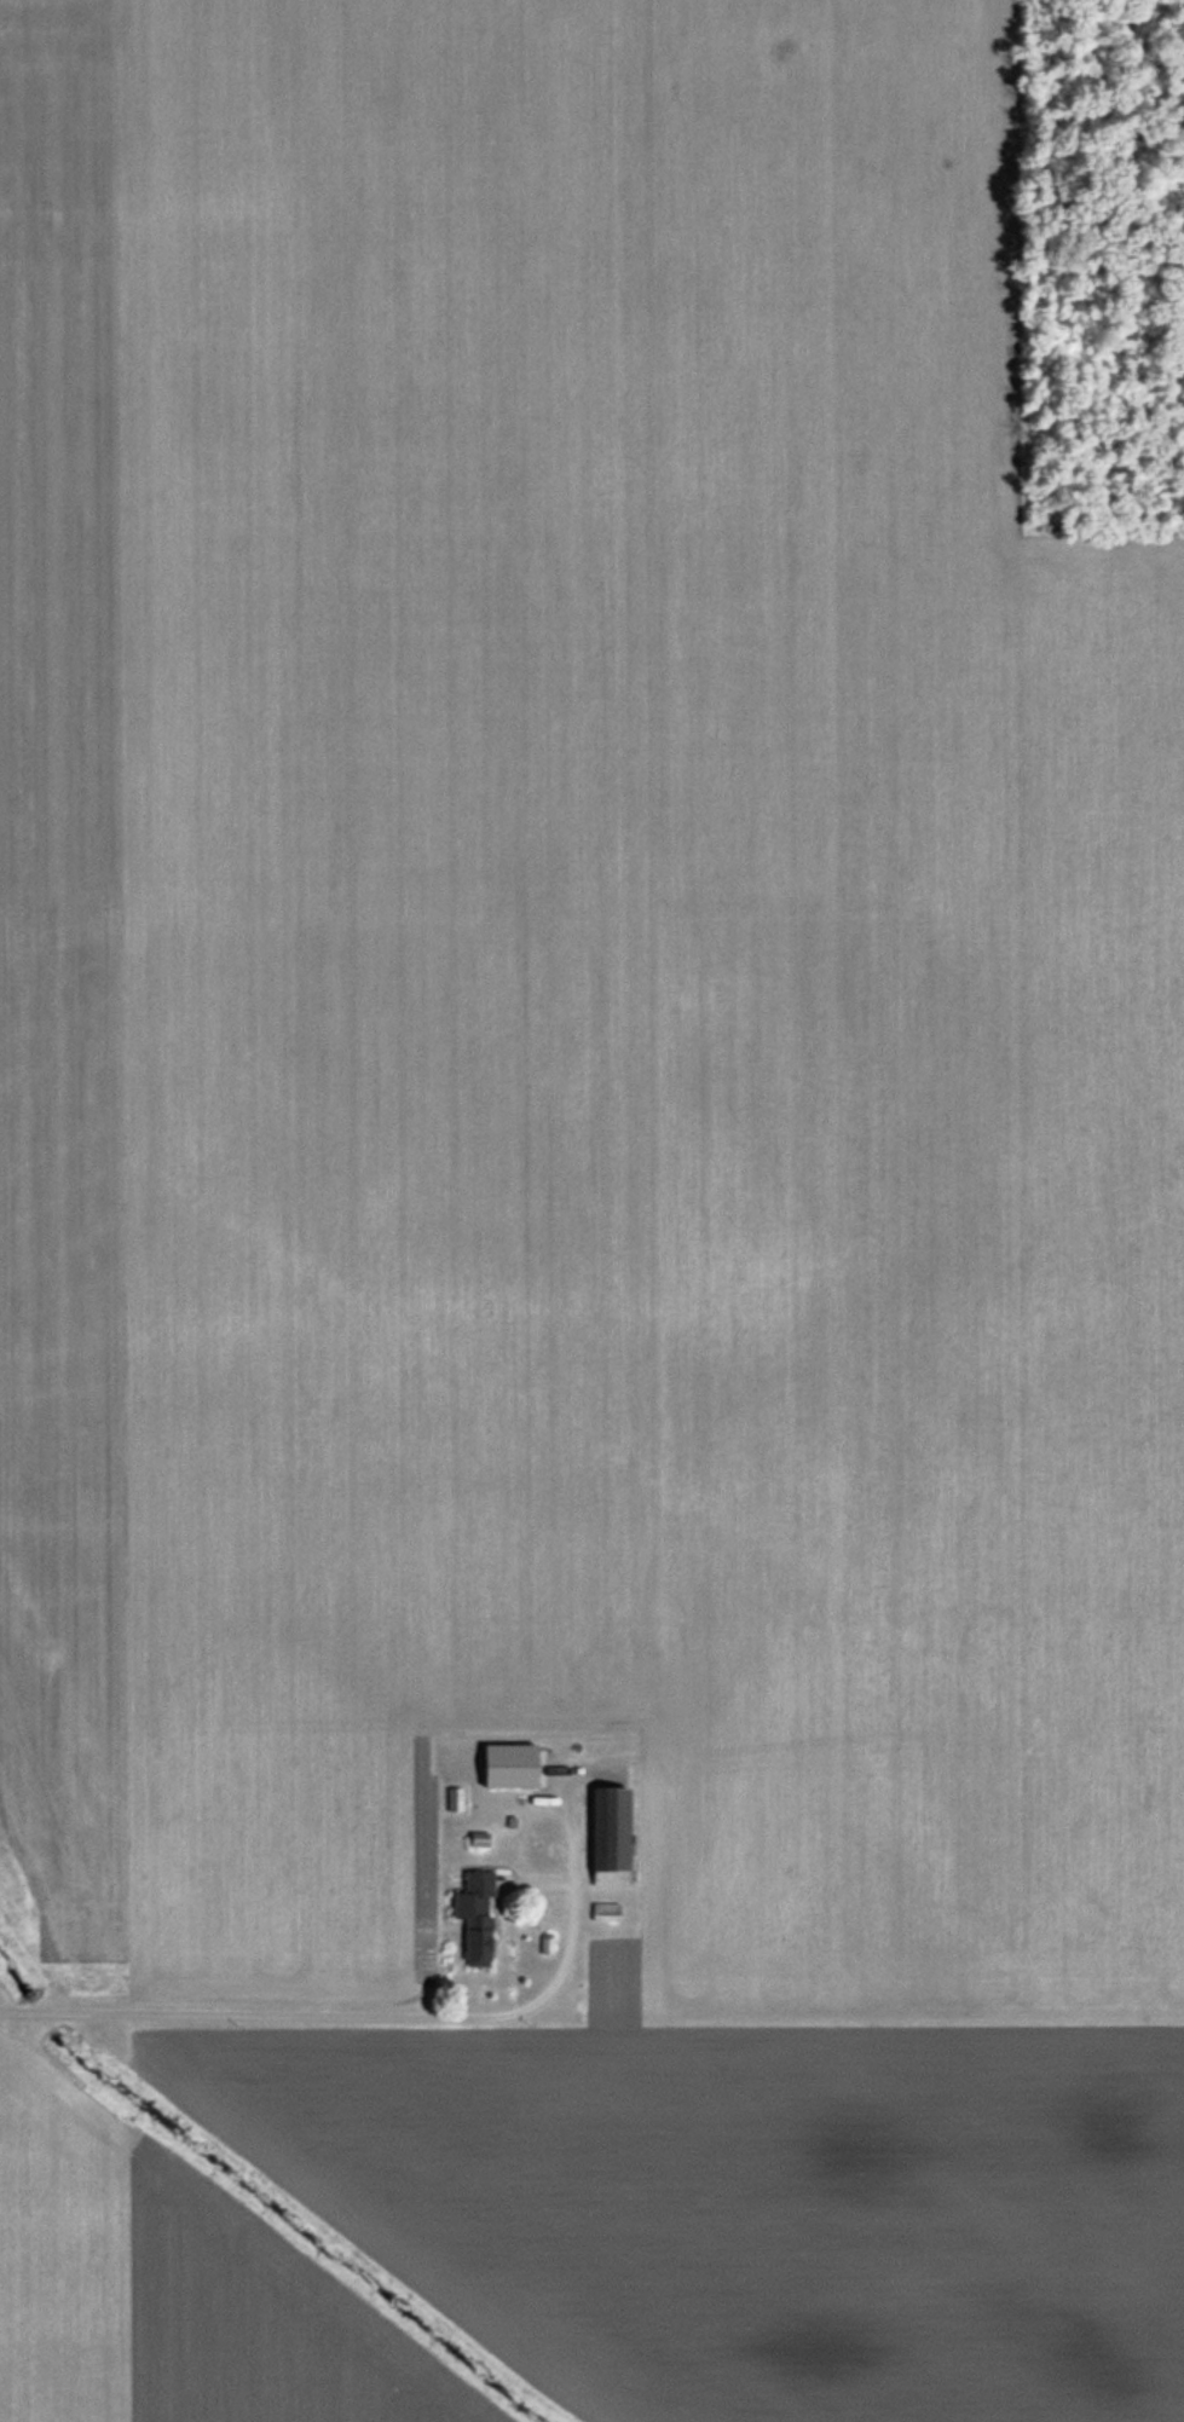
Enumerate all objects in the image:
building: (513, 1771)
building: (454, 1798)
building: (606, 1836)
building: (475, 1838)
building: (602, 1912)
building: (470, 1917)
road: (313, 2017)

